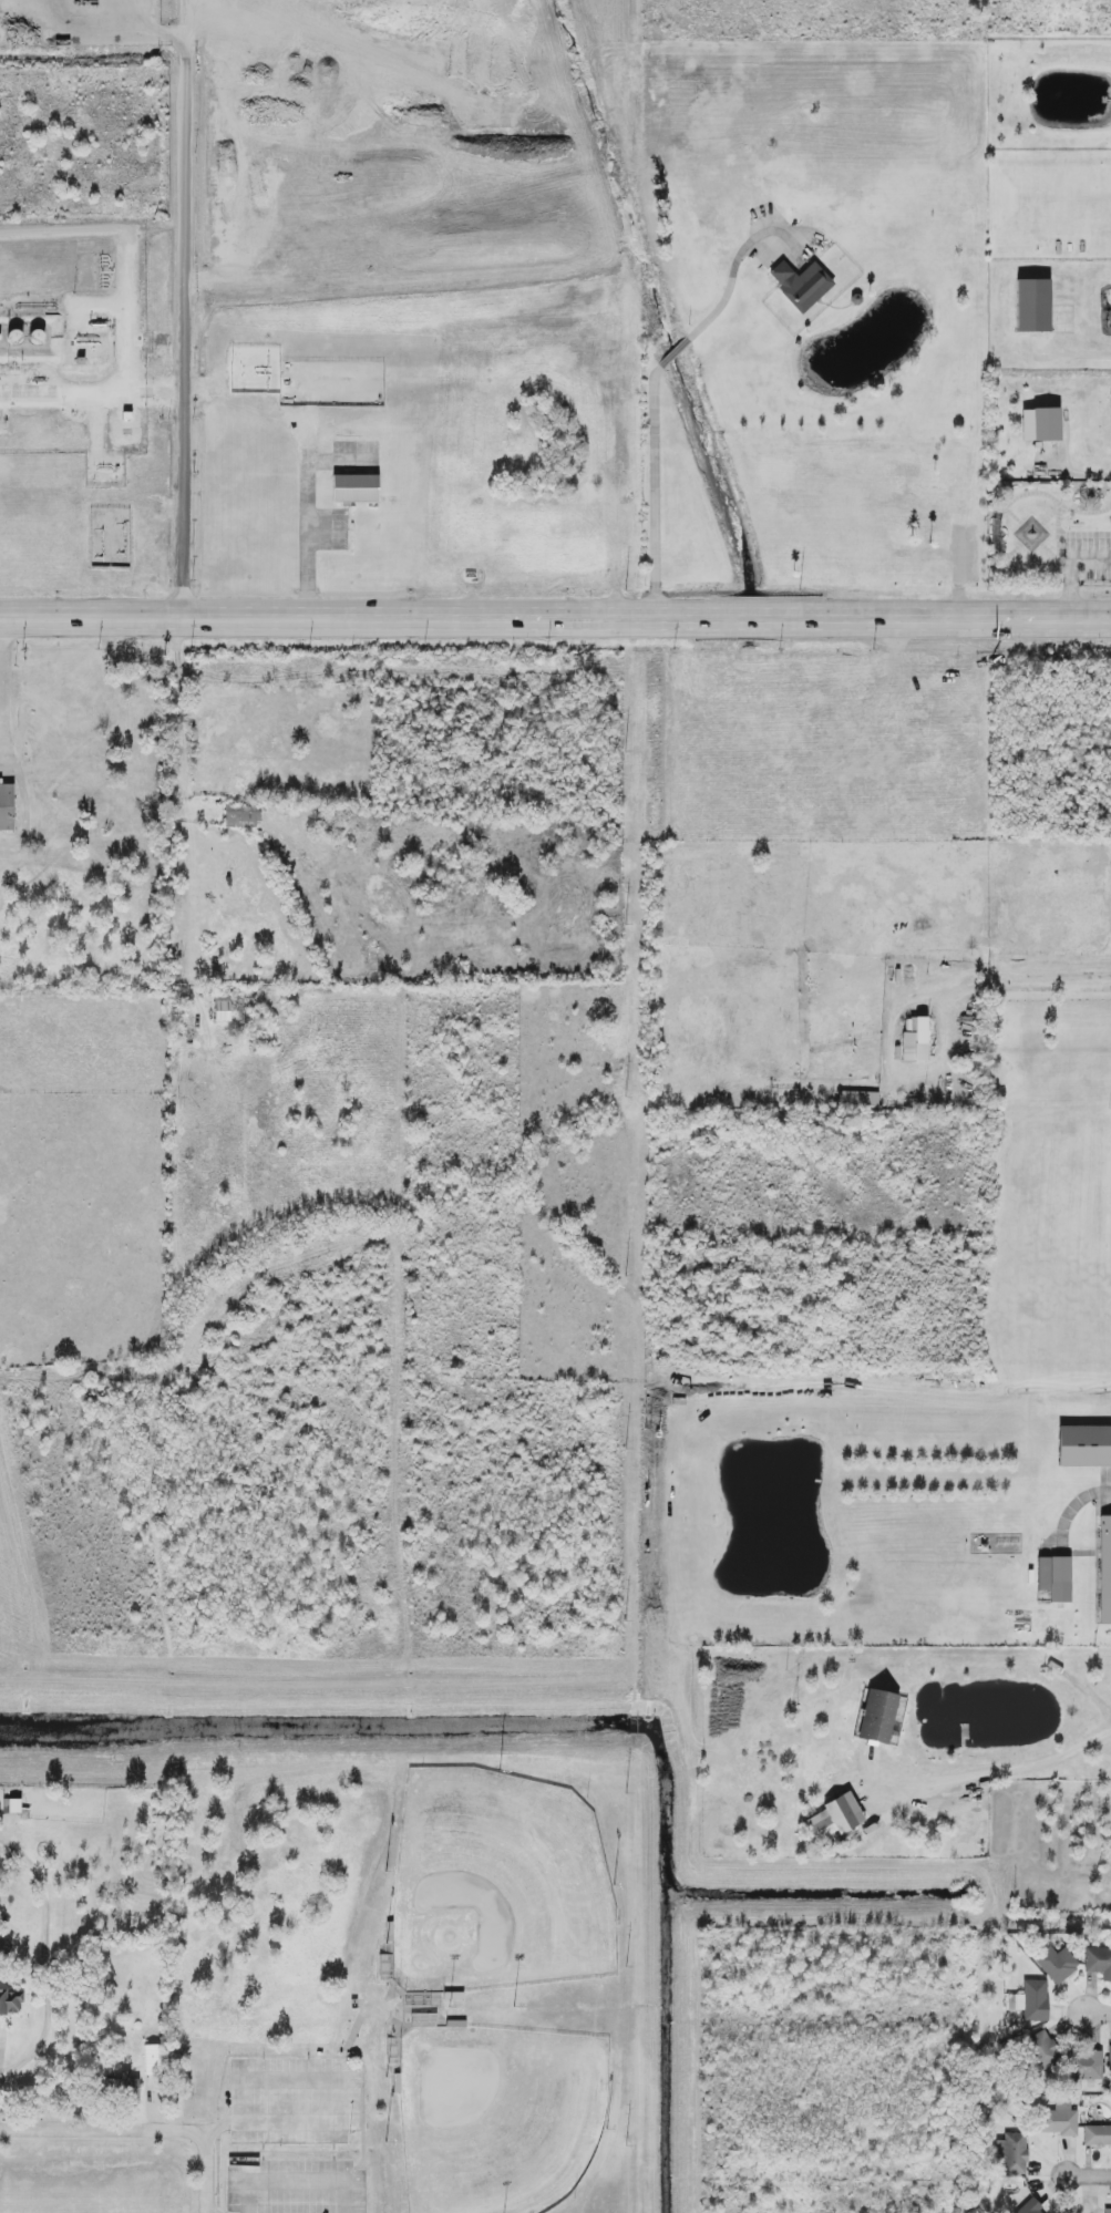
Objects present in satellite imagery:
road: (126, 240)
building: (821, 244)
road: (732, 276)
building: (800, 284)
road: (183, 288)
building: (1032, 305)
road: (676, 352)
road: (1080, 357)
road: (63, 383)
road: (154, 387)
building: (1040, 424)
building: (354, 488)
road: (656, 490)
road: (306, 518)
park: (1049, 533)
road: (1069, 569)
road: (555, 616)
road: (181, 703)
building: (7, 807)
building: (241, 815)
road: (1032, 977)
building: (222, 1008)
building: (915, 1039)
building: (858, 1099)
building: (1083, 1445)
building: (1104, 1568)
building: (1055, 1577)
building: (877, 1717)
road: (1006, 1769)
street lamp: (500, 1772)
building: (834, 1818)
street lamp: (389, 1872)
park: (497, 1885)
street lamp: (615, 1885)
street lamp: (387, 1946)
building: (1099, 1962)
building: (1057, 1964)
building: (1031, 2000)
building: (10, 2001)
street lamp: (515, 2004)
street lamp: (449, 2010)
road: (1095, 2014)
road: (2, 2046)
building: (1040, 2050)
building: (1109, 2057)
building: (152, 2060)
building: (1084, 2065)
street lamp: (387, 2080)
building: (122, 2087)
road: (341, 2094)
park: (498, 2117)
building: (1058, 2120)
road: (103, 2131)
street lamp: (606, 2133)
building: (1097, 2135)
street lamp: (387, 2144)
building: (1012, 2153)
road: (206, 2172)
road: (1083, 2174)
road: (296, 2180)
building: (1029, 2207)
building: (1107, 2210)

